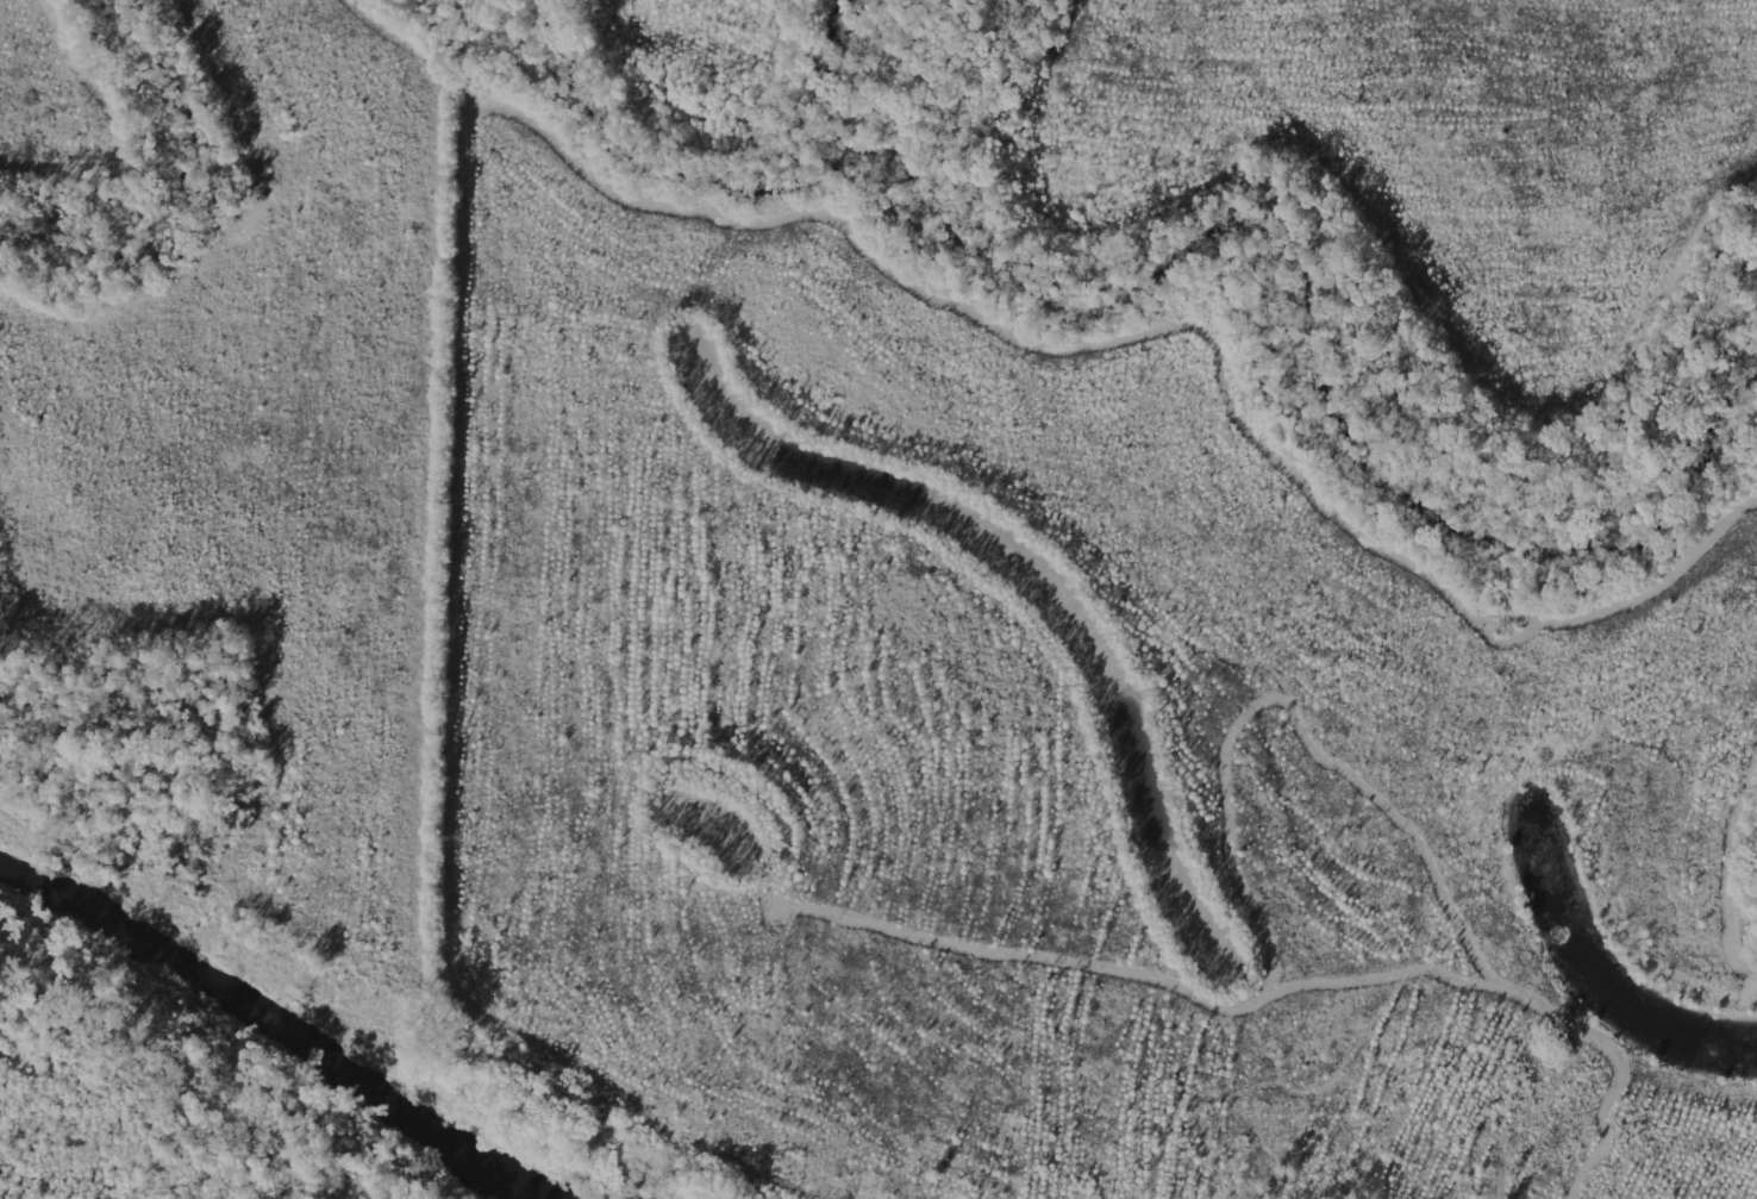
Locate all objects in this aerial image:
river: (287, 1038)

